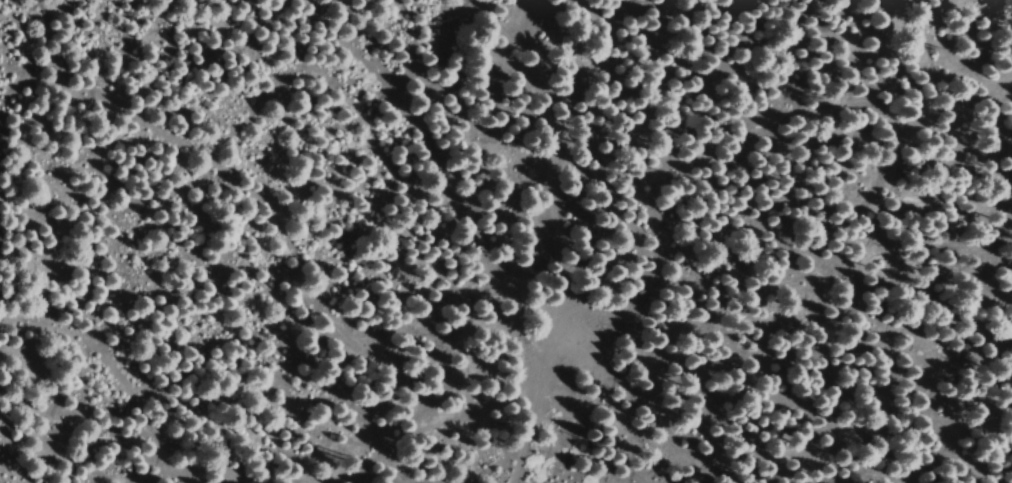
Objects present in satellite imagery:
road: (561, 242)

